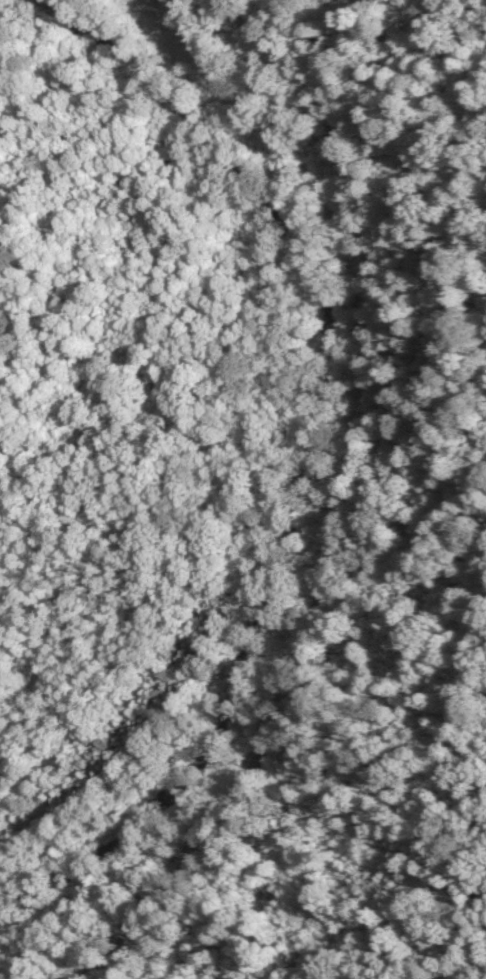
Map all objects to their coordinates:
road: (353, 500)

